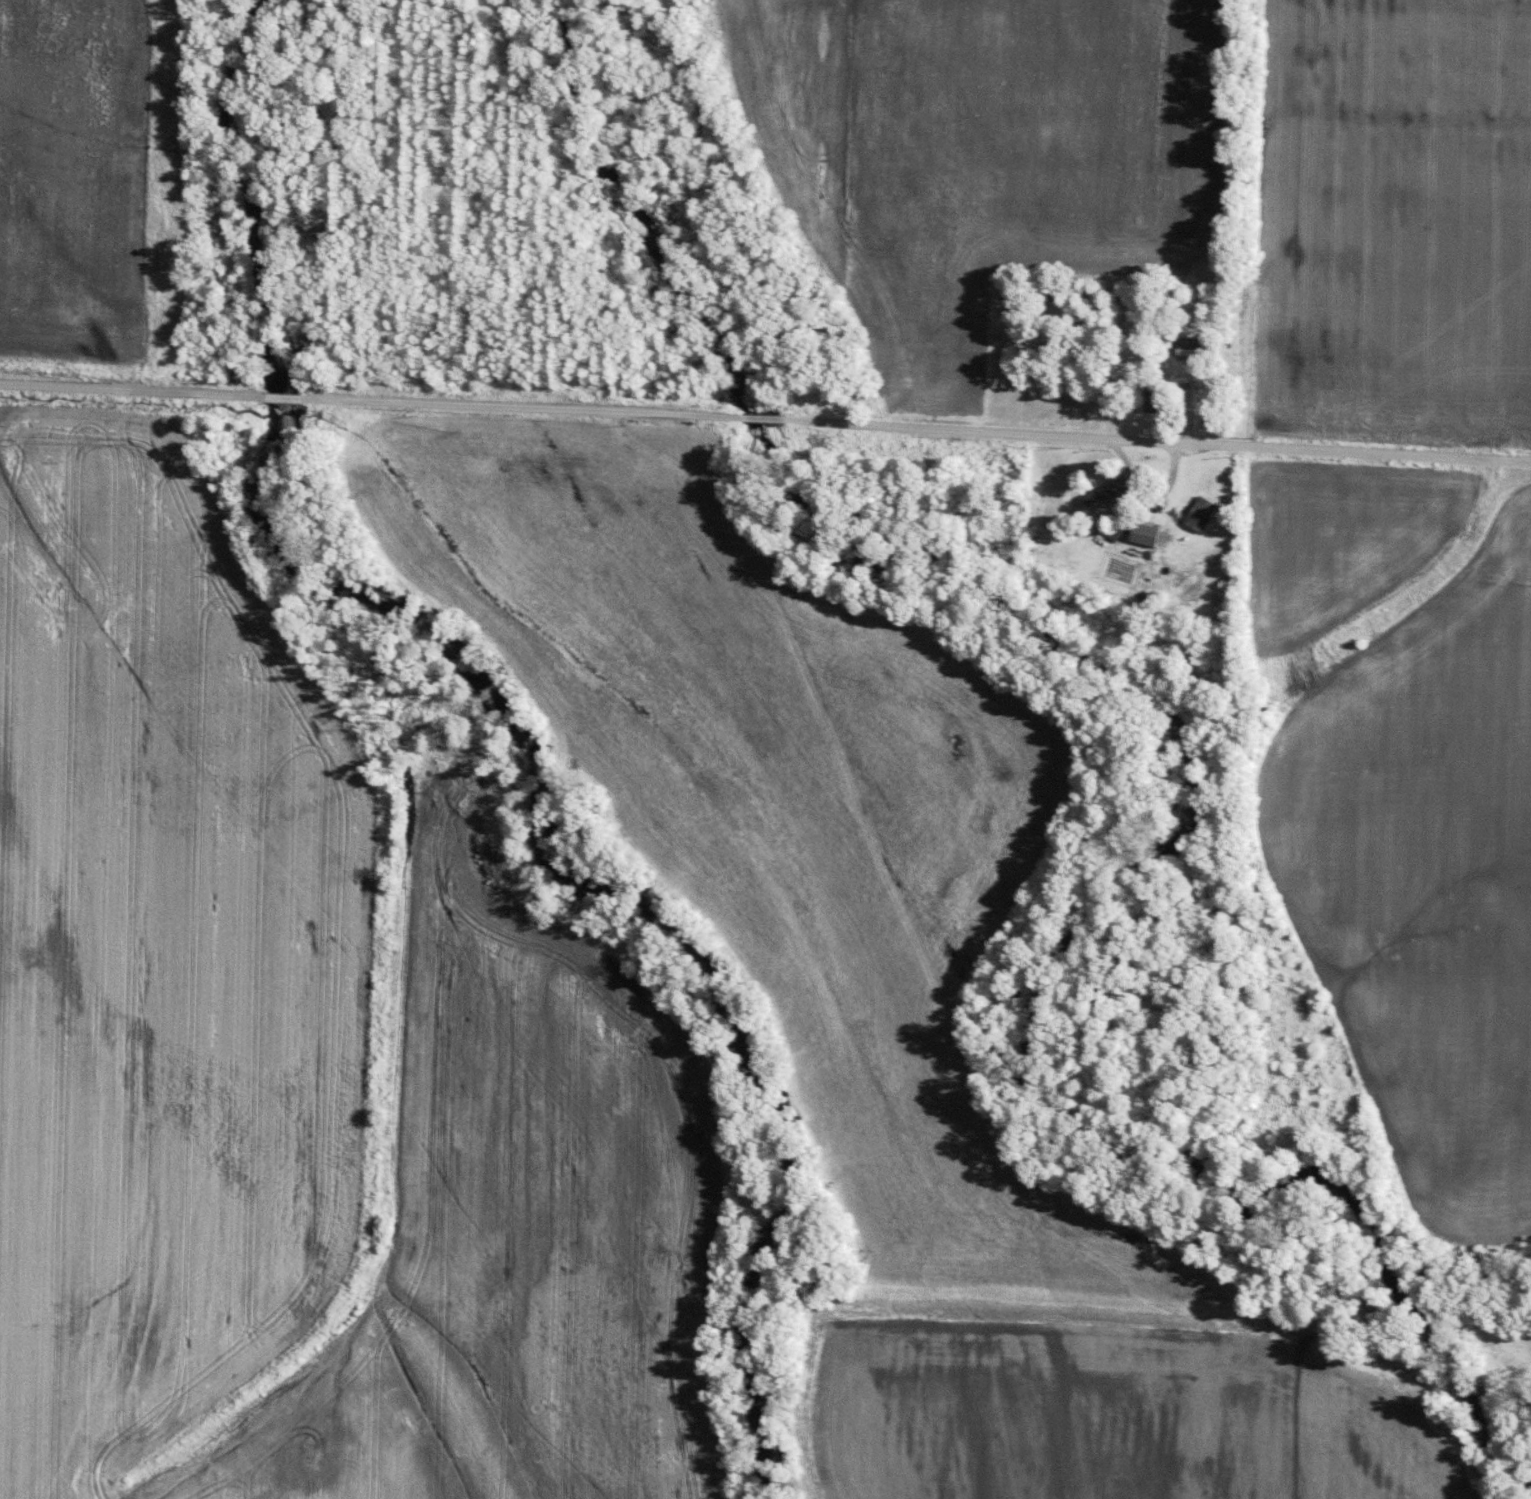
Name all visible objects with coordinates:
road: (765, 414)
building: (1107, 489)

